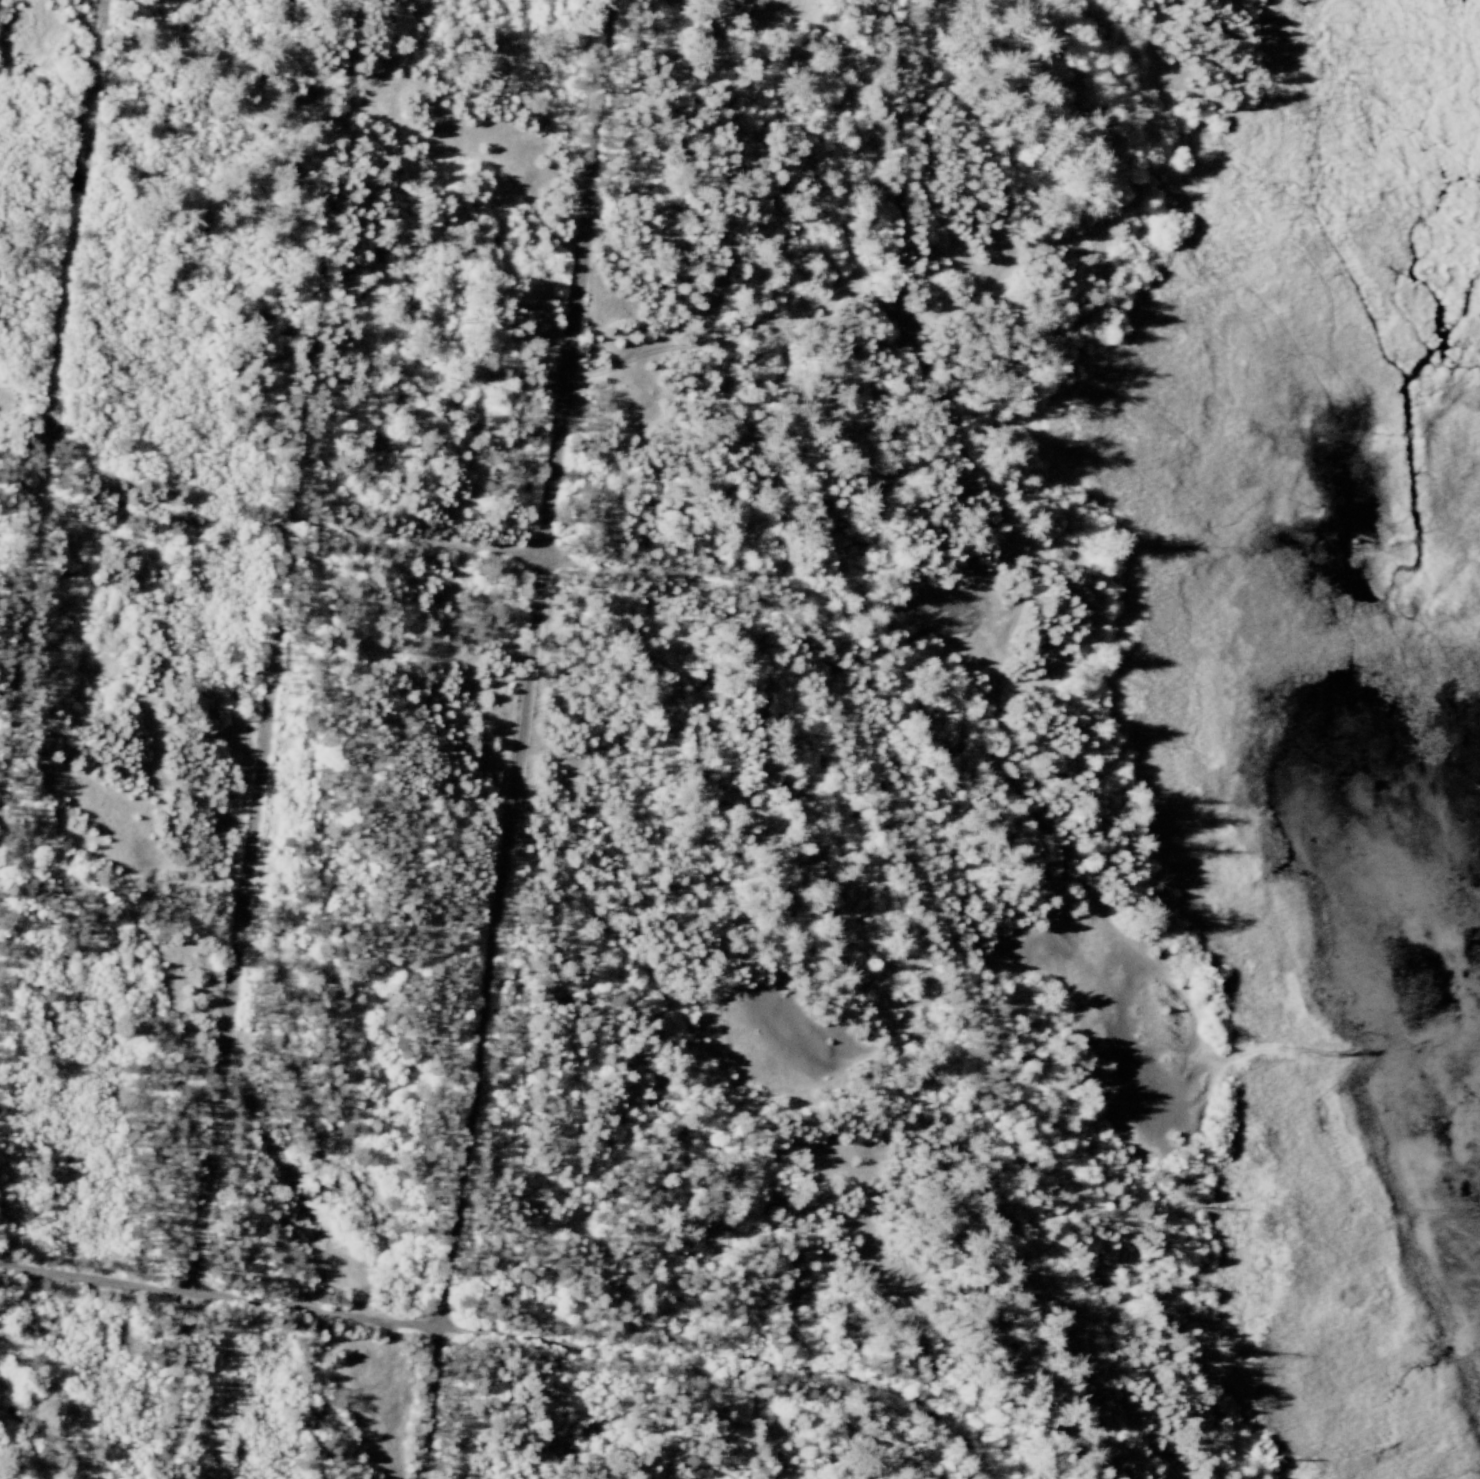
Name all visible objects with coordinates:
road: (904, 167)
road: (54, 418)
road: (758, 600)
road: (896, 649)
road: (268, 739)
road: (522, 739)
road: (770, 1272)
road: (517, 1338)

